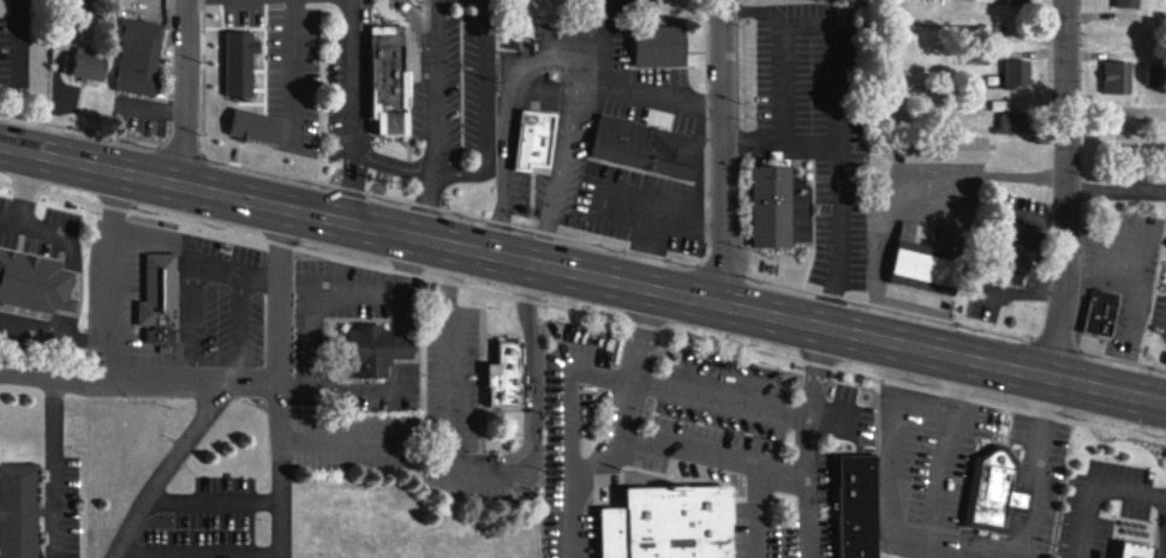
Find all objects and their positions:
building: (1022, 1)
building: (1128, 2)
building: (644, 52)
building: (140, 56)
building: (243, 61)
building: (86, 65)
building: (1018, 72)
building: (1156, 73)
building: (1120, 76)
road: (184, 92)
building: (1016, 120)
building: (257, 125)
building: (237, 136)
building: (537, 138)
building: (630, 151)
road: (719, 152)
building: (929, 156)
road: (1054, 187)
building: (781, 205)
building: (753, 214)
building: (1028, 252)
road: (582, 274)
building: (909, 274)
building: (36, 281)
building: (161, 298)
building: (1104, 312)
building: (1086, 319)
building: (381, 349)
building: (509, 373)
building: (995, 492)
building: (19, 510)
building: (841, 511)
building: (672, 522)
building: (1130, 550)

